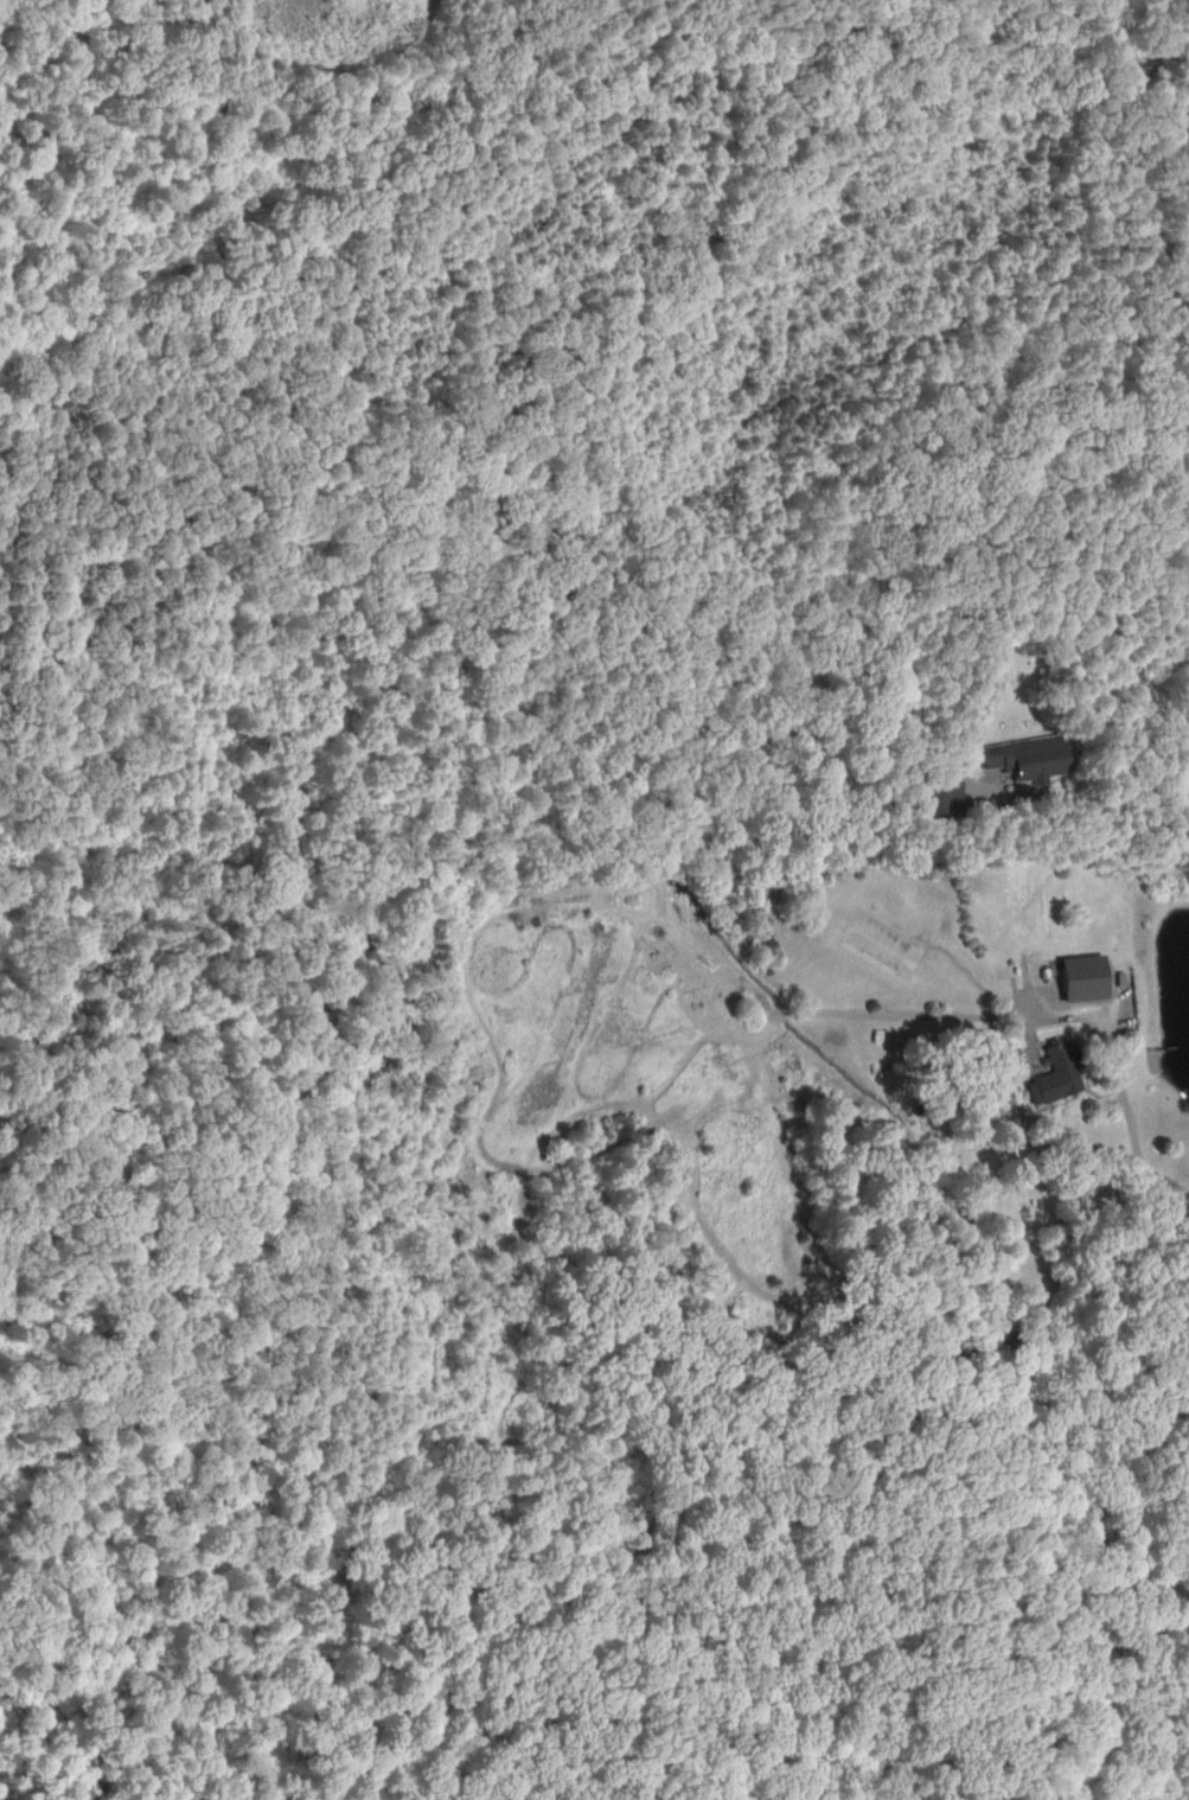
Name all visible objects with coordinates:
building: (1024, 759)
building: (935, 797)
building: (875, 943)
building: (1080, 977)
building: (1051, 1075)
road: (1130, 1144)

